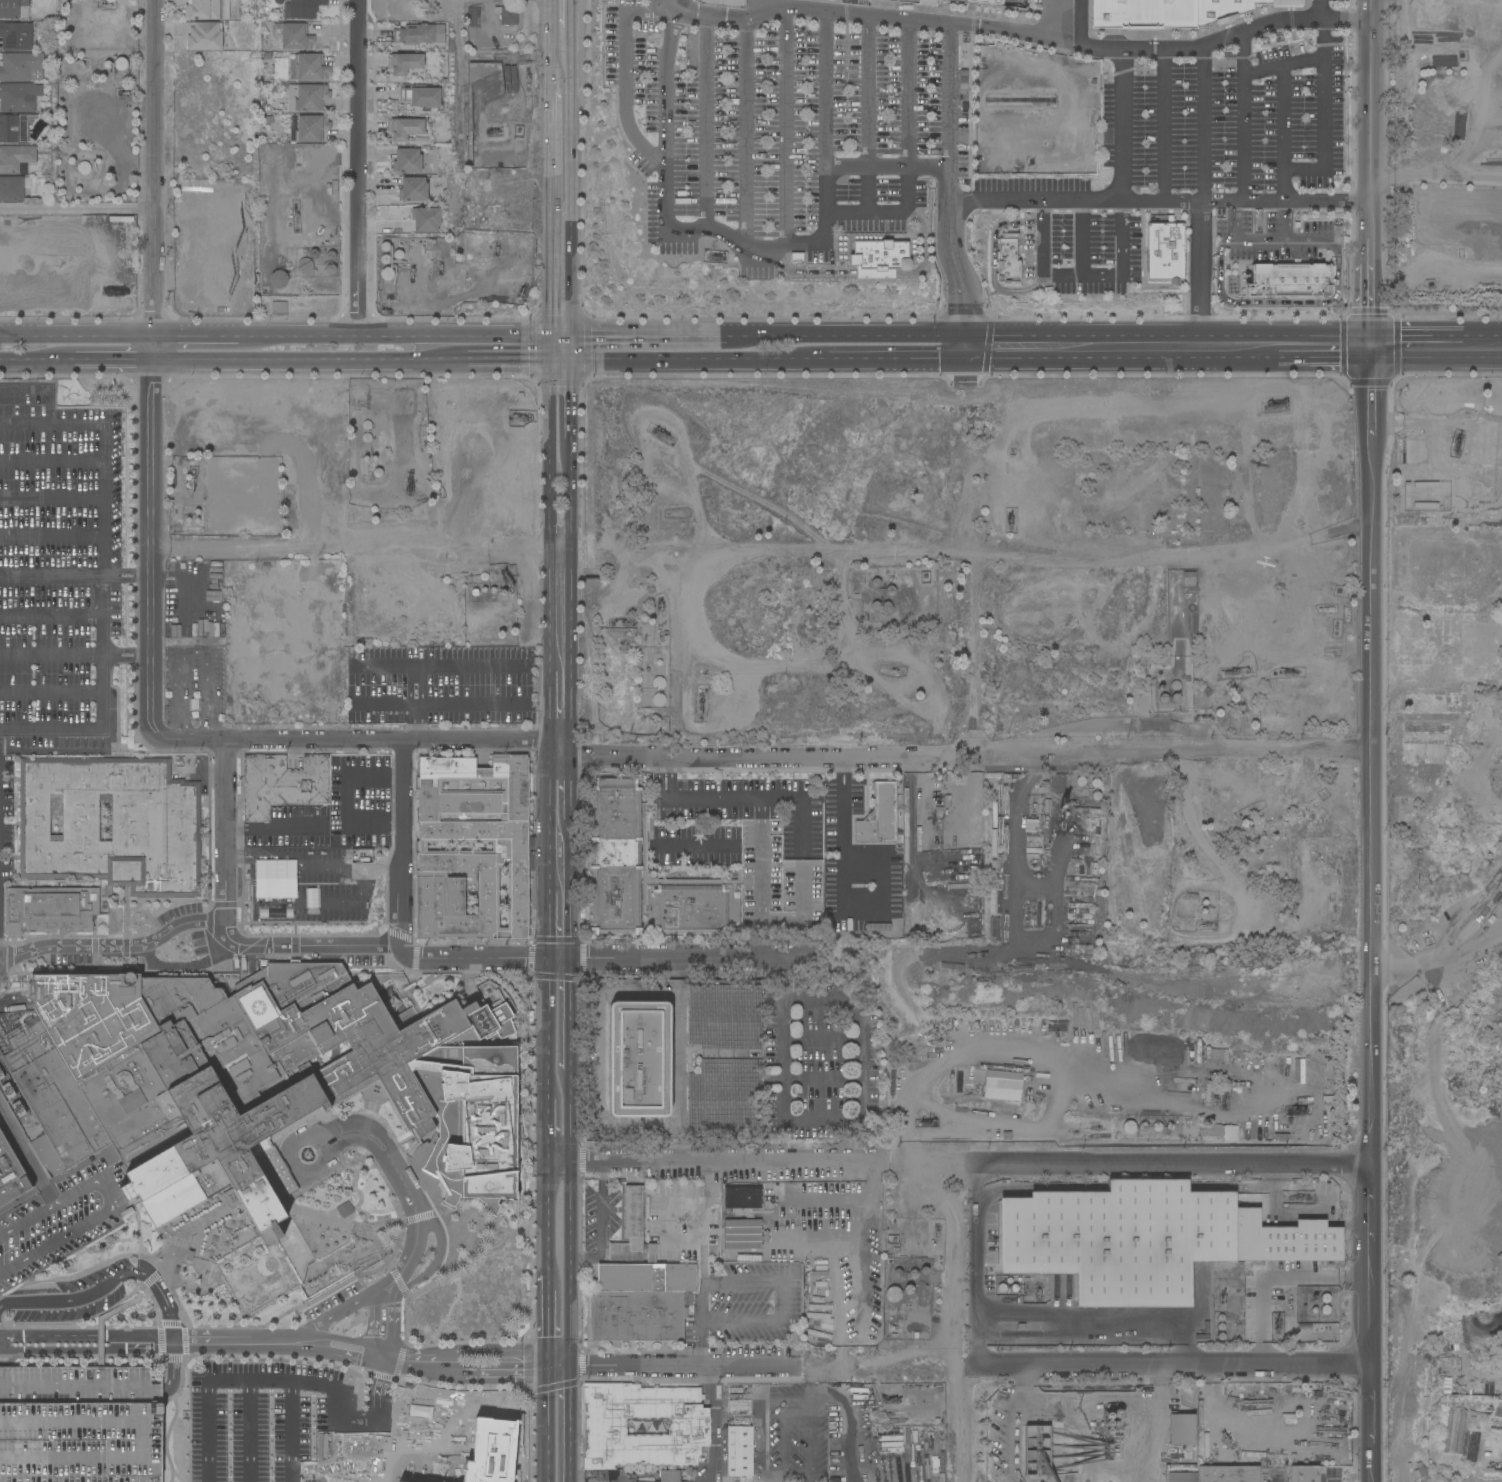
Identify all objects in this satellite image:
building: (737, 0)
building: (905, 1)
building: (1277, 3)
building: (991, 4)
petroleum well: (109, 6)
building: (302, 8)
building: (14, 9)
building: (202, 9)
building: (225, 9)
building: (1220, 11)
road: (571, 14)
building: (1143, 14)
building: (508, 15)
building: (474, 17)
road: (1046, 19)
road: (1014, 32)
building: (419, 34)
building: (16, 36)
building: (204, 36)
building: (293, 36)
road: (550, 43)
building: (268, 56)
road: (571, 57)
building: (404, 63)
building: (121, 64)
storage tank: (121, 64)
building: (22, 67)
building: (308, 67)
road: (1284, 68)
petroleum well: (126, 94)
road: (669, 94)
building: (421, 96)
building: (308, 97)
building: (18, 98)
road: (1321, 103)
road: (827, 113)
road: (950, 113)
building: (1032, 114)
road: (868, 115)
road: (706, 116)
parking lot: (1236, 117)
road: (1246, 119)
parking lot: (783, 126)
road: (787, 126)
road: (1205, 126)
road: (1165, 127)
building: (16, 128)
building: (312, 128)
building: (404, 128)
road: (1122, 128)
petroleum well: (496, 132)
road: (1283, 136)
road: (746, 140)
building: (1418, 144)
building: (1436, 144)
road: (571, 147)
building: (16, 157)
building: (407, 160)
building: (429, 160)
road: (888, 166)
building: (85, 167)
storage tank: (85, 167)
road: (1372, 167)
road: (154, 168)
road: (357, 168)
road: (1436, 177)
building: (28, 183)
building: (332, 188)
building: (12, 189)
building: (414, 189)
road: (1160, 203)
road: (77, 209)
road: (550, 211)
petroleum well: (296, 218)
building: (426, 219)
parking lot: (1282, 234)
road: (1309, 237)
road: (1083, 239)
road: (1260, 239)
petroleum well: (496, 249)
building: (1166, 251)
parking lot: (1092, 253)
road: (772, 258)
building: (797, 258)
road: (1121, 258)
building: (879, 259)
building: (1009, 259)
road: (1042, 260)
road: (995, 263)
building: (305, 266)
storage tank: (305, 266)
road: (782, 266)
petroleum well: (440, 268)
road: (1201, 269)
road: (572, 272)
building: (386, 273)
storage tank: (386, 273)
petroleum well: (412, 274)
road: (891, 274)
building: (50, 275)
building: (278, 279)
storage tank: (278, 279)
road: (959, 281)
building: (1291, 281)
petroleum well: (521, 295)
road: (1272, 303)
traffic signals: (1371, 334)
road: (1436, 335)
road: (393, 336)
traffic signals: (549, 336)
road: (560, 336)
traffic signals: (572, 336)
road: (612, 336)
road: (1052, 336)
road: (76, 337)
road: (195, 337)
road: (693, 337)
traffic signals: (965, 337)
road: (1371, 347)
road: (549, 350)
road: (572, 350)
road: (28, 361)
road: (1168, 361)
traffic signals: (1371, 361)
road: (1436, 361)
road: (103, 362)
road: (897, 362)
traffic signals: (966, 362)
road: (309, 363)
road: (700, 363)
road: (509, 364)
traffic signals: (550, 364)
road: (561, 364)
traffic signals: (572, 364)
road: (42, 390)
petroleum well: (1276, 402)
road: (572, 407)
petroleum well: (508, 419)
petroleum well: (668, 438)
petroleum well: (1456, 450)
road: (50, 465)
building: (1093, 467)
petroleum well: (195, 478)
petroleum well: (412, 486)
road: (50, 500)
petroleum well: (674, 515)
road: (551, 517)
petroleum well: (1010, 517)
road: (149, 533)
road: (50, 537)
road: (763, 553)
road: (101, 558)
parking lot: (62, 572)
road: (56, 575)
road: (114, 575)
building: (1189, 579)
petroleum well: (510, 582)
road: (571, 602)
road: (972, 605)
petroleum well: (662, 607)
road: (50, 616)
petroleum well: (620, 636)
road: (193, 652)
road: (57, 654)
road: (114, 654)
road: (439, 668)
petroleum well: (892, 672)
petroleum well: (1293, 673)
building: (658, 683)
parking lot: (193, 687)
parking lot: (440, 688)
building: (659, 699)
road: (424, 704)
road: (438, 706)
road: (549, 706)
petroleum well: (702, 706)
road: (68, 729)
road: (363, 741)
road: (1172, 752)
road: (771, 755)
road: (837, 773)
road: (848, 773)
building: (993, 776)
building: (1012, 777)
road: (655, 778)
road: (673, 778)
building: (282, 784)
road: (571, 788)
building: (939, 792)
road: (758, 797)
building: (991, 800)
building: (938, 801)
building: (947, 802)
petroleum well: (1072, 802)
building: (1047, 806)
building: (939, 812)
road: (547, 816)
building: (879, 816)
building: (920, 822)
building: (112, 824)
building: (907, 826)
road: (277, 830)
road: (228, 831)
building: (932, 833)
building: (1101, 834)
road: (405, 843)
building: (514, 847)
building: (935, 849)
parking lot: (324, 852)
building: (361, 856)
building: (616, 856)
building: (1077, 861)
road: (842, 869)
building: (777, 881)
building: (1081, 884)
building: (957, 886)
road: (571, 890)
building: (1081, 906)
building: (690, 909)
building: (50, 910)
building: (129, 918)
road: (1371, 921)
building: (850, 925)
road: (546, 926)
building: (878, 927)
building: (1080, 927)
road: (262, 946)
building: (1080, 948)
road: (685, 958)
building: (952, 966)
road: (4, 972)
road: (778, 979)
road: (787, 980)
road: (621, 995)
helipad: (258, 1008)
road: (570, 1014)
road: (547, 1030)
building: (1171, 1053)
building: (1199, 1053)
building: (1186, 1054)
building: (1216, 1054)
building: (639, 1059)
building: (1018, 1064)
building: (977, 1067)
building: (1026, 1067)
building: (250, 1082)
building: (1003, 1086)
petroleum well: (1298, 1110)
road: (852, 1119)
petroleum well: (927, 1123)
building: (1130, 1127)
storage tank: (1130, 1127)
building: (1144, 1127)
storage tank: (1144, 1127)
building: (1158, 1127)
storage tank: (1158, 1127)
building: (1170, 1127)
storage tank: (1170, 1127)
road: (547, 1131)
building: (1219, 1133)
building: (1254, 1133)
building: (1244, 1134)
building: (1281, 1137)
road: (289, 1148)
road: (388, 1157)
road: (715, 1162)
road: (1174, 1165)
building: (11, 1174)
building: (742, 1198)
petroleum well: (1306, 1201)
road: (866, 1208)
building: (346, 1209)
road: (571, 1216)
road: (702, 1219)
road: (663, 1220)
road: (407, 1221)
building: (856, 1222)
road: (600, 1223)
building: (742, 1225)
building: (55, 1226)
parking lot: (55, 1226)
road: (546, 1227)
building: (631, 1228)
road: (137, 1231)
building: (794, 1233)
petroleum well: (938, 1238)
building: (1283, 1239)
building: (732, 1240)
building: (1119, 1240)
building: (792, 1245)
road: (382, 1249)
building: (747, 1249)
building: (297, 1250)
road: (132, 1255)
road: (977, 1263)
building: (823, 1268)
flagpole: (379, 1274)
road: (343, 1275)
building: (824, 1276)
road: (1274, 1278)
road: (149, 1280)
road: (738, 1281)
road: (843, 1283)
road: (109, 1284)
road: (374, 1296)
road: (782, 1300)
building: (641, 1301)
building: (816, 1306)
building: (817, 1311)
road: (1106, 1314)
road: (954, 1315)
road: (101, 1318)
road: (547, 1321)
road: (738, 1321)
road: (392, 1322)
road: (700, 1323)
road: (374, 1326)
road: (86, 1336)
road: (214, 1341)
road: (291, 1343)
road: (140, 1348)
road: (461, 1348)
road: (53, 1349)
road: (511, 1350)
traffic signals: (547, 1350)
road: (356, 1352)
road: (417, 1353)
road: (902, 1355)
road: (460, 1356)
road: (559, 1357)
road: (547, 1362)
road: (830, 1362)
traffic signals: (571, 1365)
road: (682, 1365)
road: (1175, 1365)
road: (469, 1366)
road: (172, 1369)
road: (559, 1369)
road: (419, 1370)
road: (468, 1373)
road: (515, 1374)
traffic signals: (547, 1374)
road: (468, 1381)
road: (268, 1385)
road: (81, 1386)
road: (798, 1399)
petroleum well: (888, 1401)
parking lot: (305, 1416)
road: (782, 1418)
road: (377, 1419)
road: (25, 1423)
road: (127, 1423)
road: (571, 1423)
road: (712, 1423)
building: (1108, 1423)
building: (80, 1424)
parking lot: (80, 1424)
building: (606, 1427)
road: (547, 1428)
building: (1182, 1429)
building: (1455, 1431)
road: (143, 1432)
road: (251, 1433)
road: (297, 1433)
building: (465, 1436)
road: (811, 1440)
building: (1036, 1450)
building: (740, 1451)
road: (22, 1459)
road: (75, 1459)
road: (134, 1460)
building: (776, 1463)
building: (1229, 1474)
building: (1304, 1474)
building: (670, 1476)
building: (1182, 1477)
road: (143, 1481)

